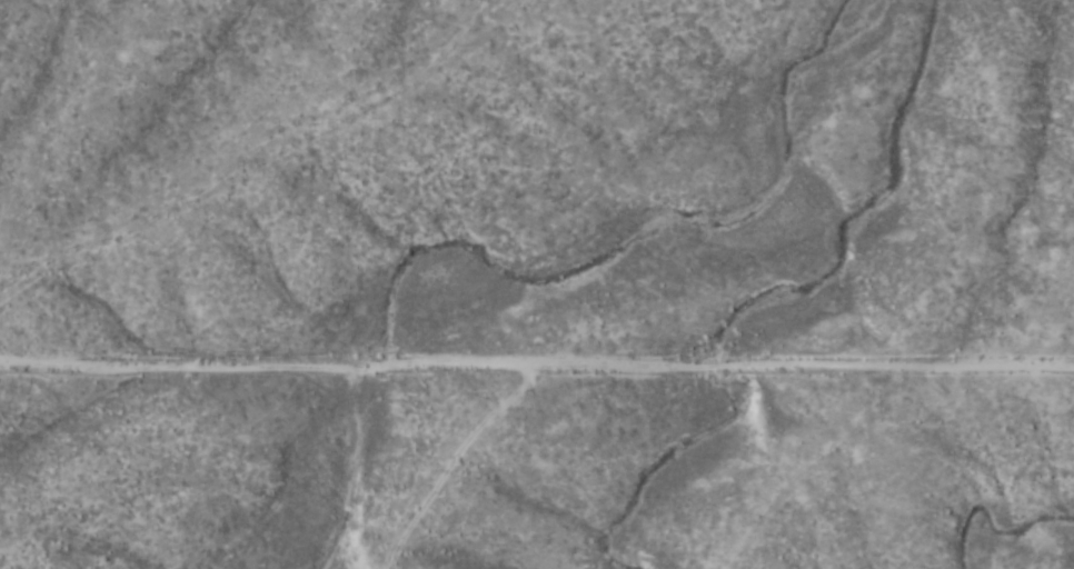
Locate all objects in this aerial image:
road: (537, 336)

